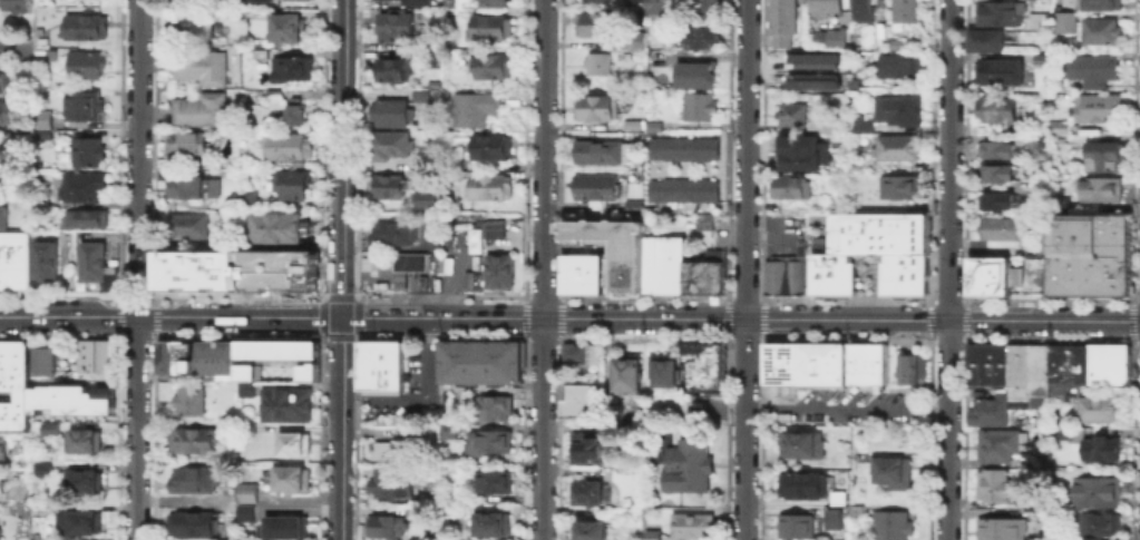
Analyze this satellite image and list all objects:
building: (636, 0)
building: (188, 1)
building: (261, 1)
building: (416, 1)
building: (495, 2)
building: (593, 2)
building: (1058, 3)
building: (12, 6)
building: (827, 6)
building: (1107, 6)
building: (661, 8)
building: (705, 9)
building: (863, 11)
building: (907, 12)
building: (1002, 13)
building: (1040, 20)
building: (785, 22)
building: (1066, 22)
road: (138, 23)
building: (193, 26)
building: (396, 26)
building: (597, 26)
building: (87, 28)
building: (289, 29)
building: (493, 29)
building: (881, 31)
building: (1102, 32)
building: (705, 38)
building: (817, 38)
building: (838, 38)
building: (987, 43)
building: (900, 45)
road: (11, 46)
building: (436, 59)
building: (818, 60)
building: (598, 65)
building: (89, 67)
building: (203, 68)
building: (493, 68)
building: (904, 69)
building: (293, 70)
building: (396, 70)
building: (1093, 70)
building: (1001, 75)
building: (696, 76)
building: (2, 80)
building: (817, 81)
building: (273, 96)
building: (422, 96)
building: (80, 104)
building: (596, 108)
building: (701, 108)
building: (1099, 108)
building: (7, 109)
building: (202, 110)
building: (475, 110)
building: (904, 111)
building: (997, 111)
building: (296, 112)
building: (393, 112)
building: (791, 115)
building: (41, 118)
building: (859, 126)
building: (655, 127)
building: (825, 129)
building: (1061, 129)
building: (41, 131)
building: (189, 144)
building: (288, 147)
building: (391, 147)
building: (494, 148)
building: (900, 149)
building: (685, 150)
building: (996, 151)
road: (137, 153)
building: (805, 153)
building: (90, 154)
building: (602, 154)
building: (1108, 158)
building: (871, 164)
building: (997, 175)
building: (0, 180)
building: (289, 185)
building: (898, 185)
building: (214, 187)
building: (188, 188)
building: (388, 188)
building: (489, 188)
building: (593, 188)
building: (1098, 188)
building: (85, 189)
building: (791, 189)
building: (685, 192)
building: (251, 197)
building: (426, 200)
building: (1064, 203)
building: (997, 204)
building: (631, 205)
building: (1, 215)
building: (86, 219)
building: (702, 219)
building: (276, 226)
building: (193, 227)
building: (494, 229)
building: (876, 229)
building: (1003, 229)
building: (919, 233)
building: (396, 235)
building: (608, 239)
building: (846, 242)
building: (1088, 246)
building: (42, 258)
building: (89, 259)
building: (408, 259)
building: (6, 261)
building: (19, 261)
building: (367, 263)
building: (662, 263)
road: (135, 267)
building: (792, 268)
road: (342, 269)
building: (497, 269)
road: (542, 269)
road: (746, 269)
road: (947, 269)
building: (195, 271)
building: (594, 272)
building: (567, 273)
building: (581, 273)
building: (704, 273)
building: (772, 273)
building: (819, 273)
building: (905, 273)
building: (841, 274)
building: (987, 275)
building: (107, 277)
building: (627, 282)
building: (1064, 285)
building: (1112, 285)
road: (119, 293)
road: (148, 293)
traffic signals: (342, 317)
road: (569, 317)
building: (577, 351)
building: (448, 352)
building: (464, 352)
building: (474, 352)
building: (483, 352)
building: (164, 353)
building: (494, 353)
building: (510, 353)
building: (13, 355)
building: (185, 355)
building: (205, 355)
building: (225, 355)
building: (274, 355)
building: (95, 359)
building: (42, 360)
building: (905, 360)
building: (875, 361)
building: (797, 362)
building: (838, 362)
building: (857, 362)
building: (972, 362)
building: (985, 362)
building: (998, 362)
building: (1066, 363)
building: (1108, 363)
building: (379, 365)
parking lot: (409, 365)
building: (702, 365)
building: (665, 371)
building: (1036, 373)
building: (478, 374)
building: (905, 374)
building: (1016, 374)
building: (625, 375)
building: (13, 381)
building: (245, 387)
building: (578, 390)
building: (774, 391)
building: (1055, 392)
road: (418, 393)
building: (70, 399)
building: (186, 400)
building: (283, 402)
building: (491, 405)
building: (579, 405)
road: (845, 406)
building: (20, 408)
parking lot: (387, 408)
building: (633, 408)
building: (1092, 408)
building: (614, 410)
building: (988, 410)
building: (426, 411)
building: (0, 413)
building: (7, 413)
building: (781, 416)
building: (1043, 419)
road: (136, 428)
building: (250, 429)
building: (51, 431)
building: (1059, 431)
building: (449, 432)
building: (192, 439)
building: (86, 442)
building: (996, 442)
building: (292, 443)
building: (489, 443)
building: (802, 445)
building: (1, 446)
building: (1099, 446)
building: (396, 448)
building: (591, 452)
building: (1042, 462)
building: (39, 467)
building: (690, 468)
building: (894, 472)
building: (288, 478)
building: (193, 481)
building: (991, 482)
building: (0, 483)
building: (85, 483)
building: (497, 484)
building: (392, 487)
building: (805, 487)
building: (1099, 491)
building: (250, 493)
building: (588, 493)
building: (839, 498)
building: (226, 501)
road: (172, 502)
building: (232, 508)
building: (858, 510)
building: (249, 512)
building: (836, 519)
building: (85, 523)
building: (286, 524)
building: (494, 524)
building: (194, 526)
building: (895, 526)
building: (797, 527)
building: (1104, 527)
building: (694, 528)
building: (1004, 528)
building: (388, 529)
building: (592, 531)
building: (654, 537)

